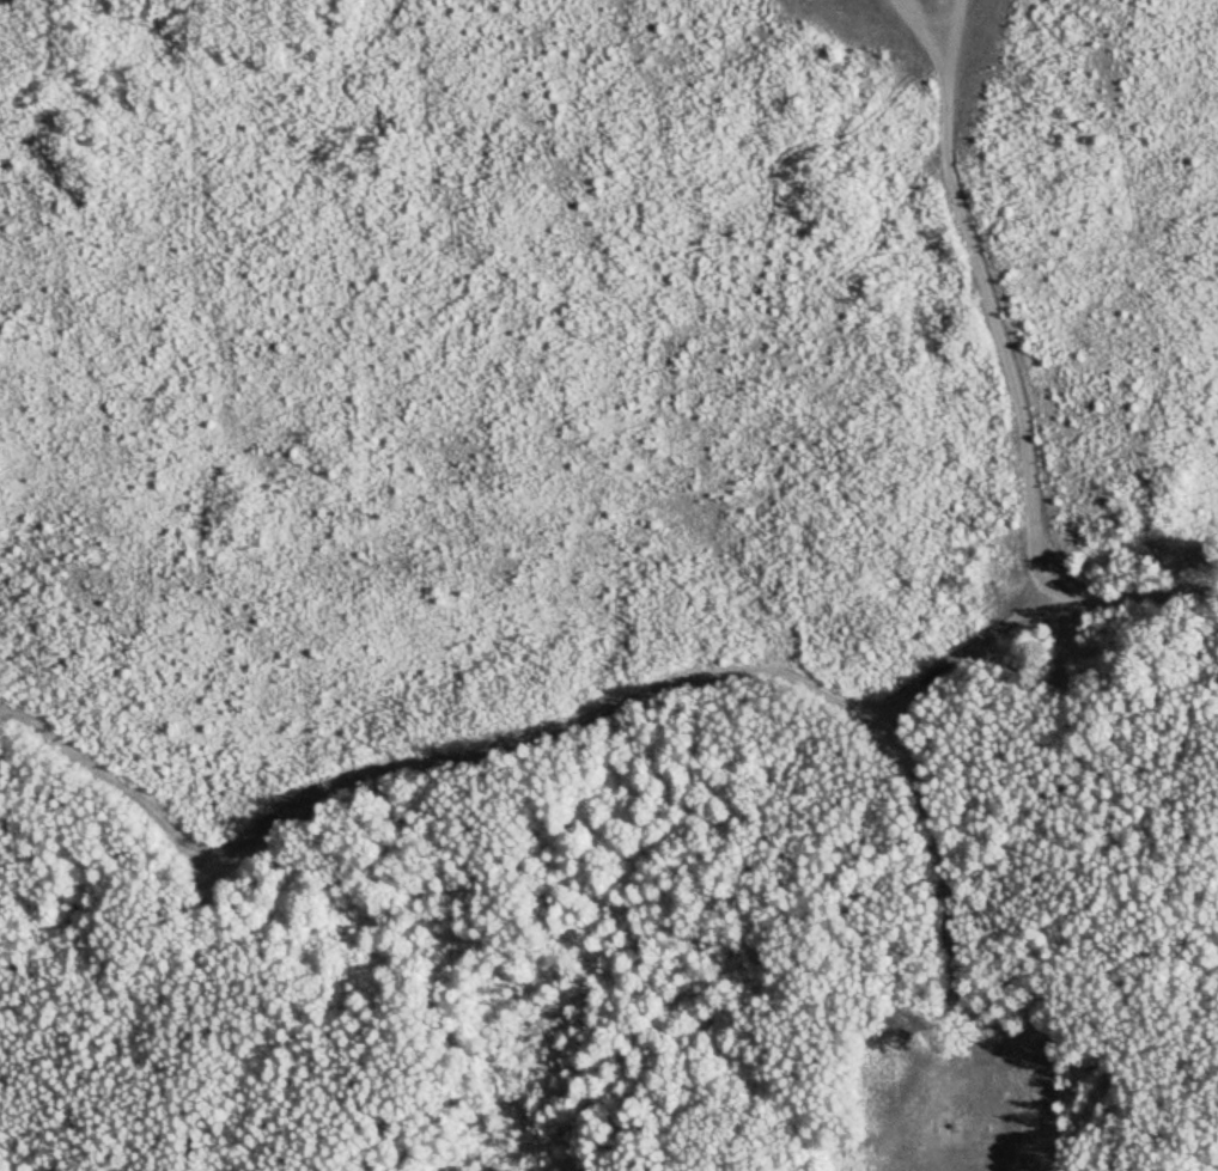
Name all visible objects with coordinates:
road: (1006, 391)
road: (408, 767)
road: (927, 816)
petroleum well: (956, 1129)

